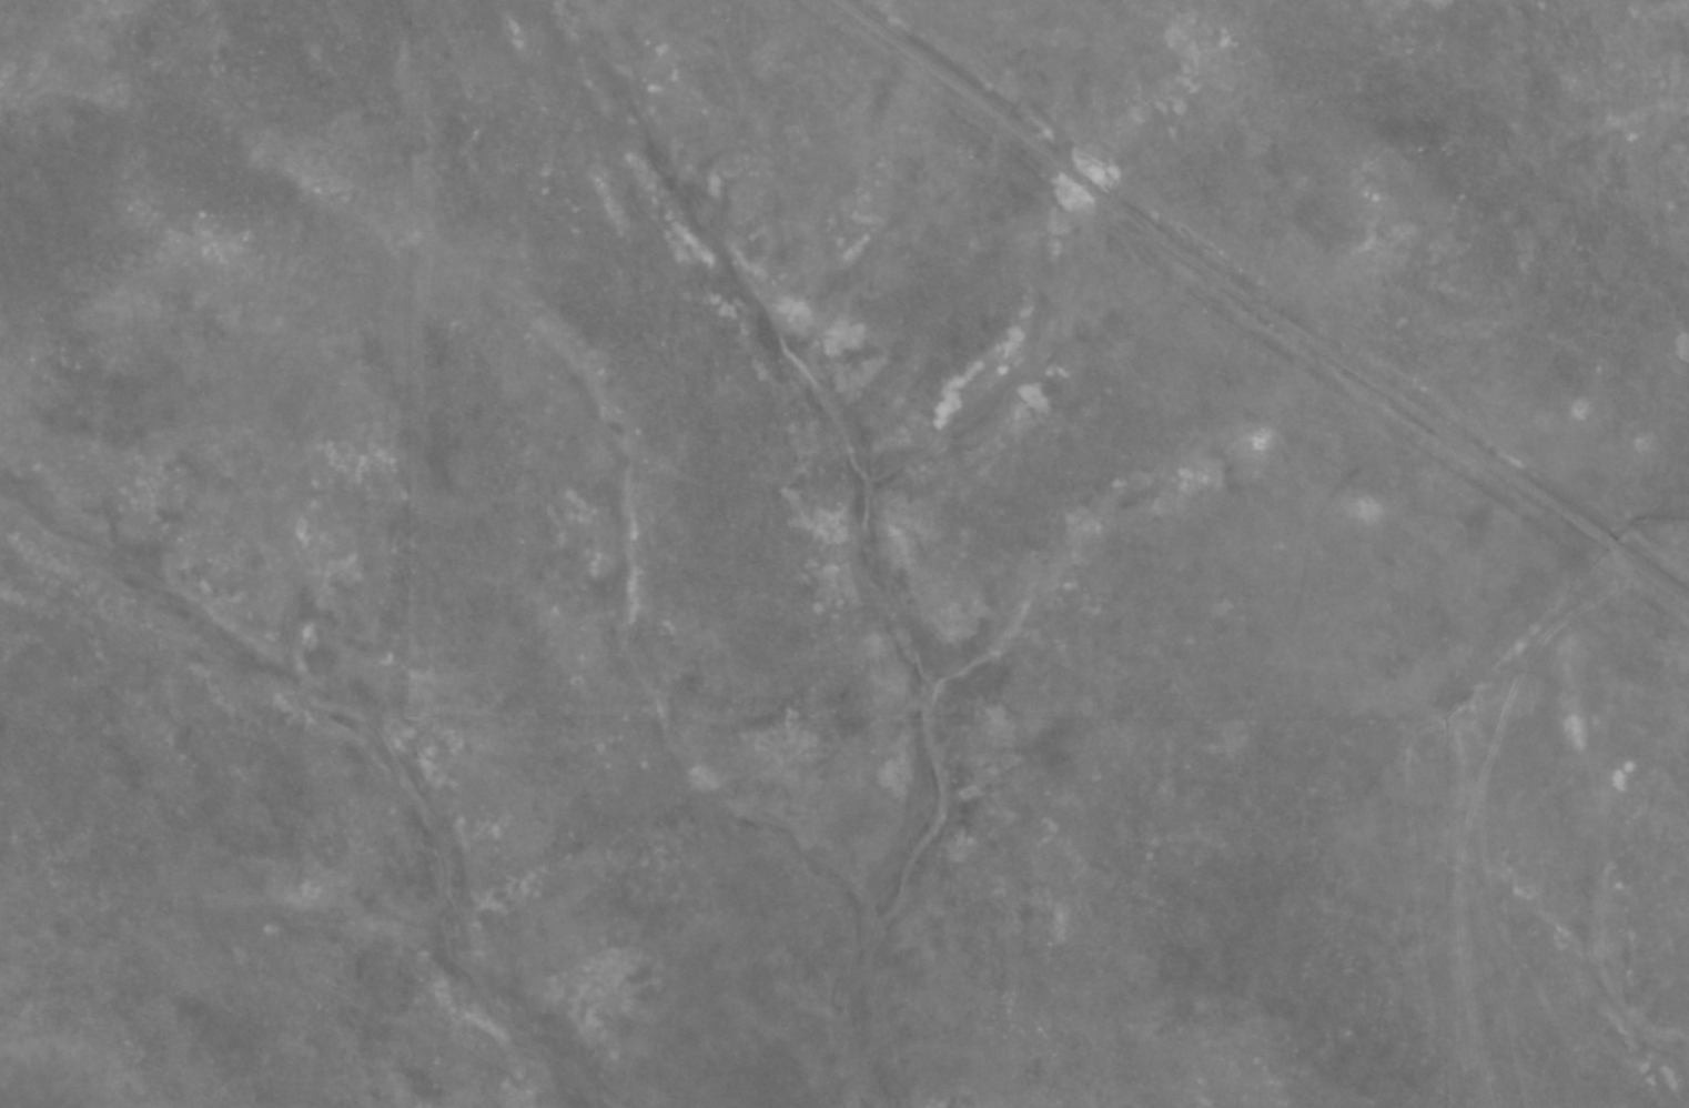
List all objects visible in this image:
road: (1245, 305)

